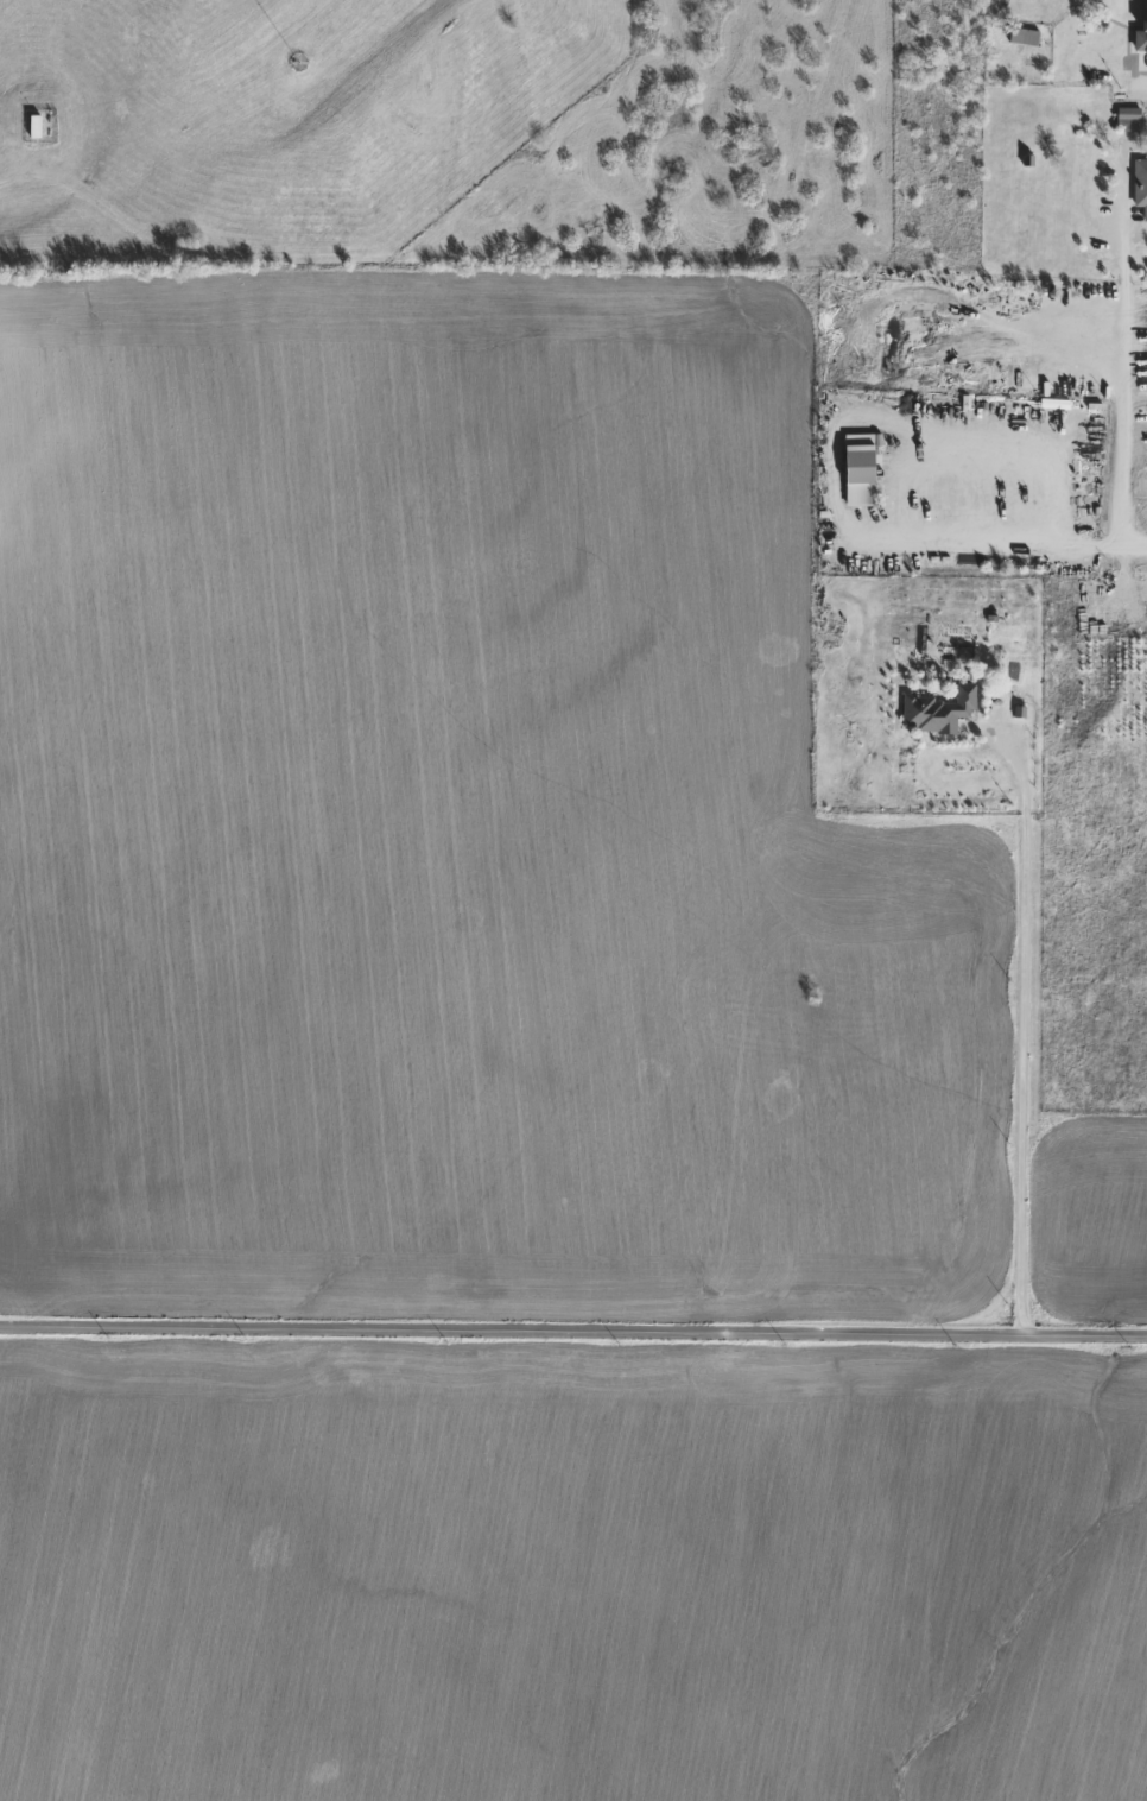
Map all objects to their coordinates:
building: (1142, 36)
building: (1025, 37)
road: (1143, 91)
building: (1130, 119)
building: (38, 127)
building: (1141, 183)
road: (1119, 386)
road: (834, 466)
building: (862, 475)
road: (1134, 542)
building: (942, 710)
road: (27, 980)
road: (1018, 1026)
road: (19, 1271)
road: (573, 1326)
crop: (572, 1576)

